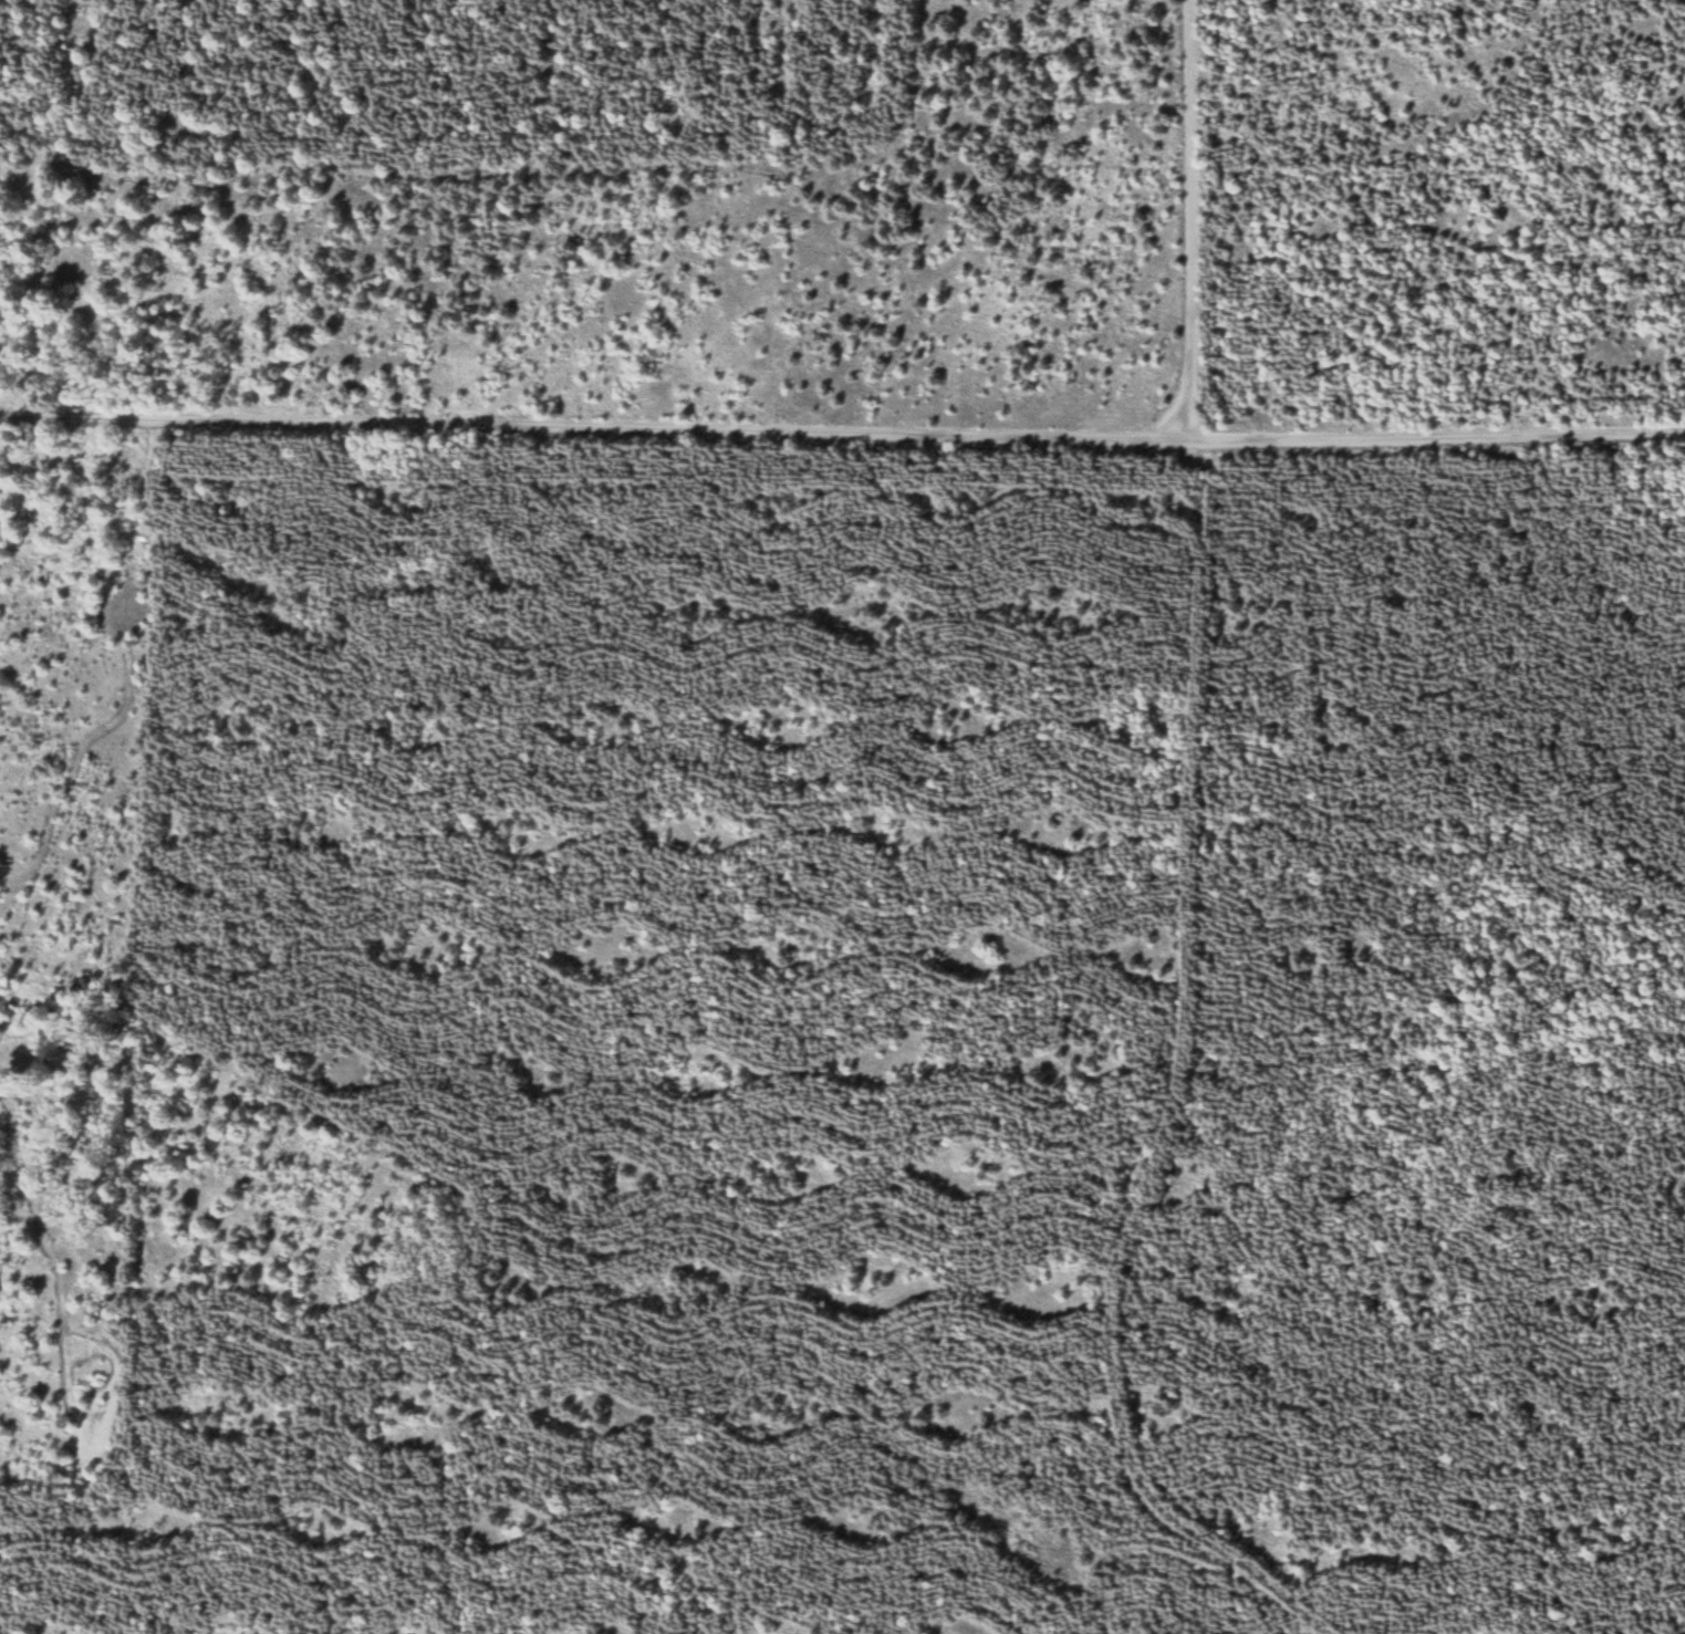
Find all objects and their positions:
road: (842, 428)
road: (1175, 868)

